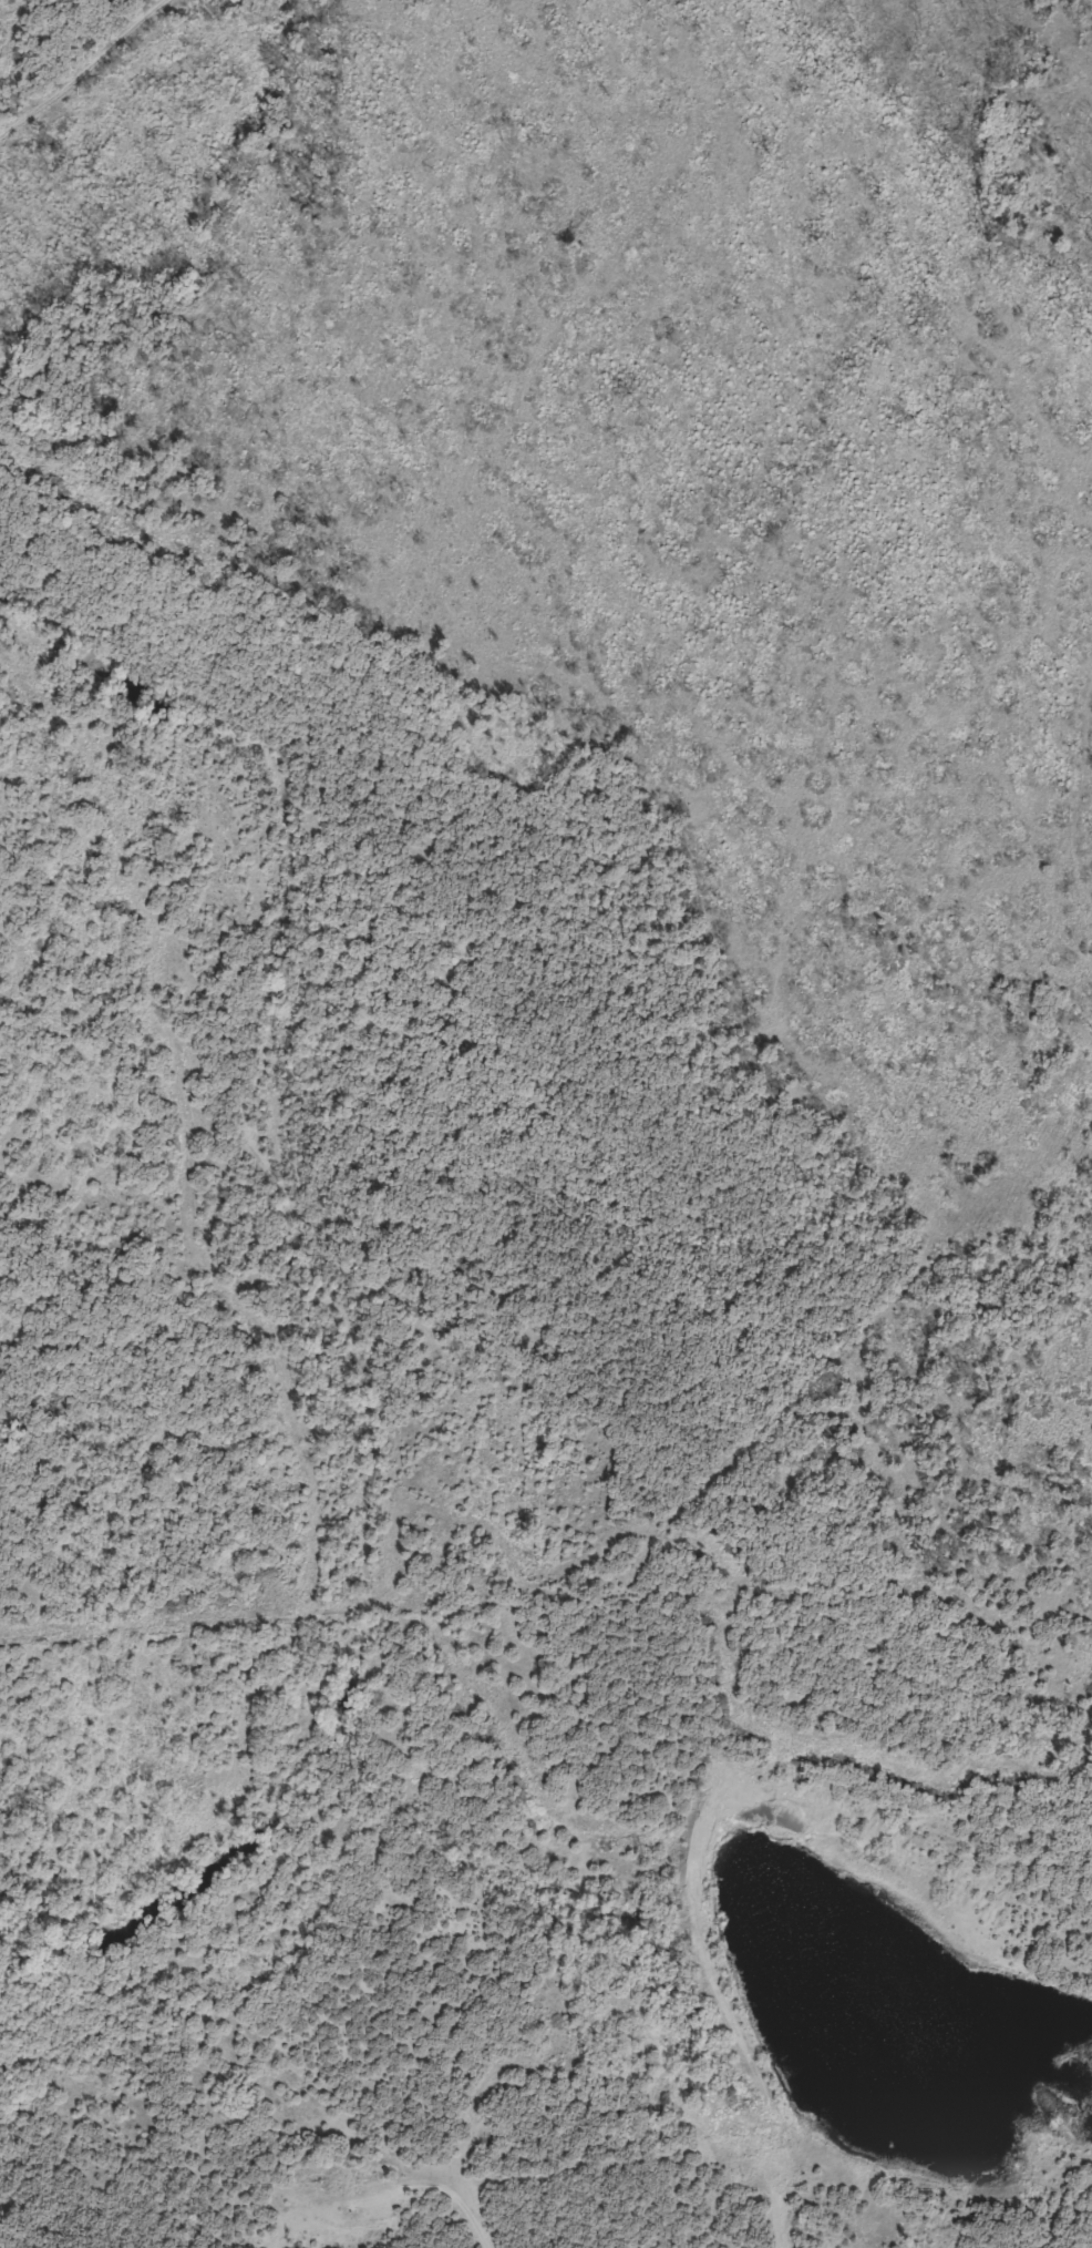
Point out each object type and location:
road: (456, 2198)

